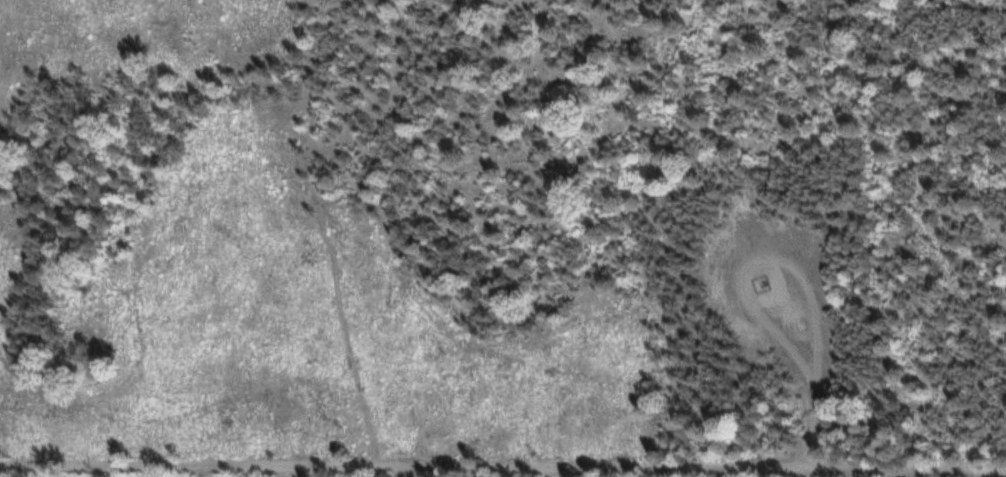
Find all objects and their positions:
road: (973, 4)
road: (409, 216)
road: (794, 262)
petroleum well: (766, 283)
road: (502, 468)
road: (298, 473)

